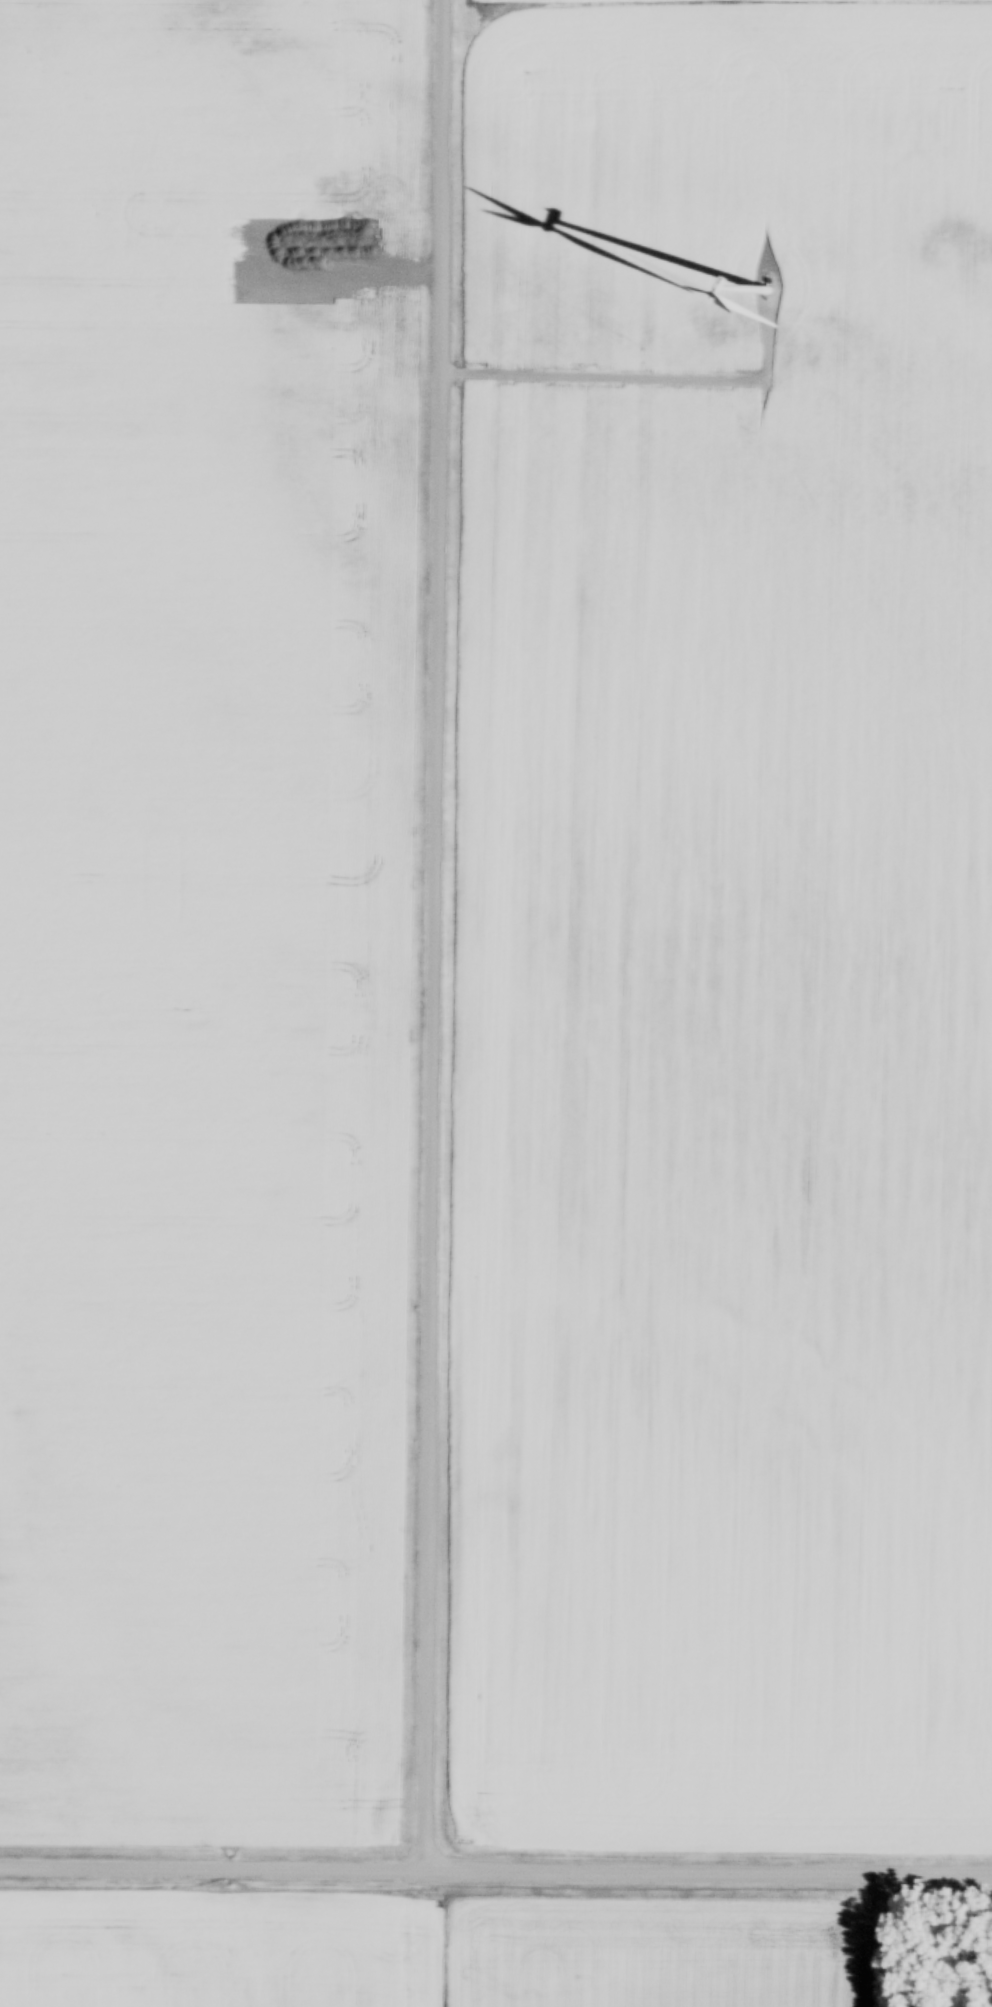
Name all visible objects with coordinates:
wind turbine: (772, 283)
road: (436, 937)
road: (273, 1762)
road: (495, 1875)

